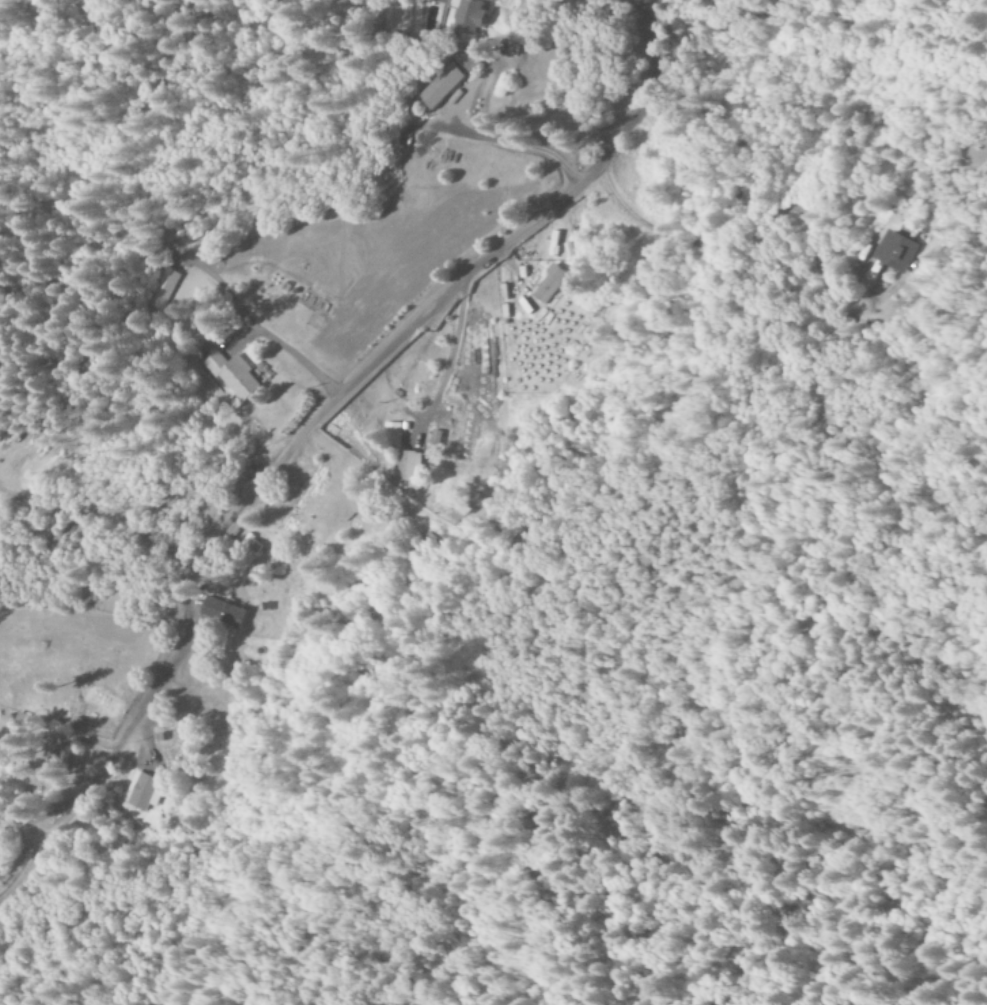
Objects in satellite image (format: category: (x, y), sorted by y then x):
building: (468, 17)
building: (465, 61)
building: (439, 86)
building: (898, 251)
building: (552, 284)
building: (159, 290)
building: (234, 377)
road: (312, 430)
building: (393, 433)
building: (408, 470)
building: (224, 613)
building: (23, 720)
building: (143, 792)

